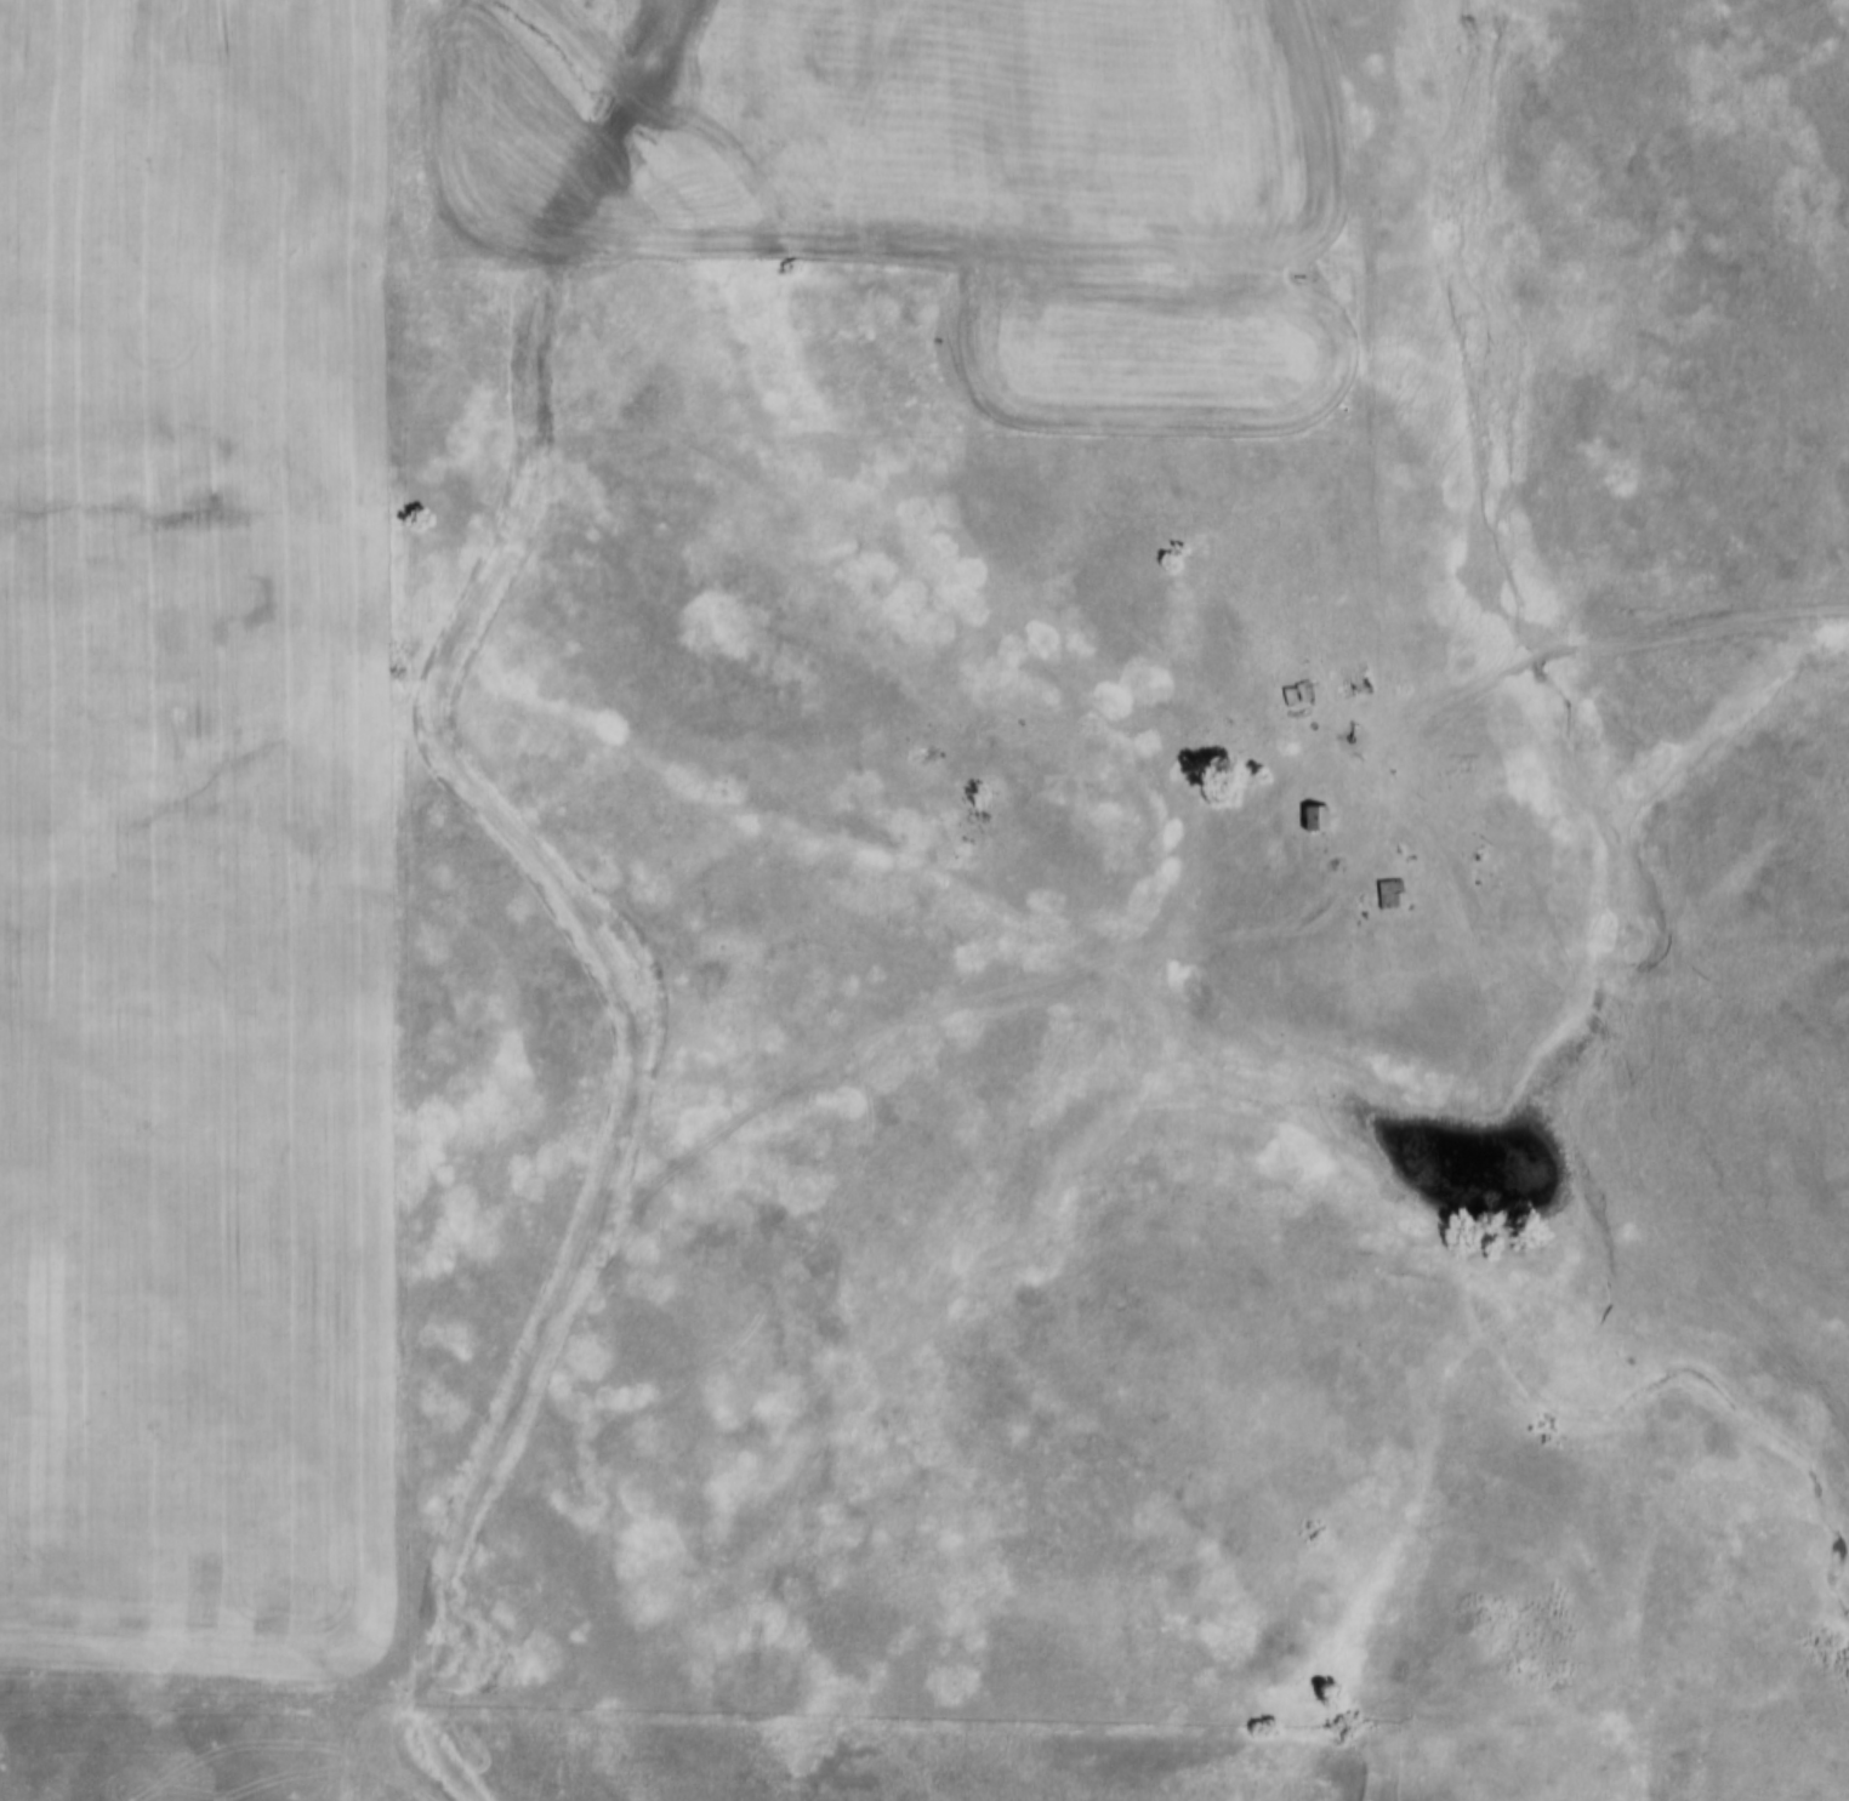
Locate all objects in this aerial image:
building: (1301, 691)
building: (1316, 817)
building: (1392, 894)

